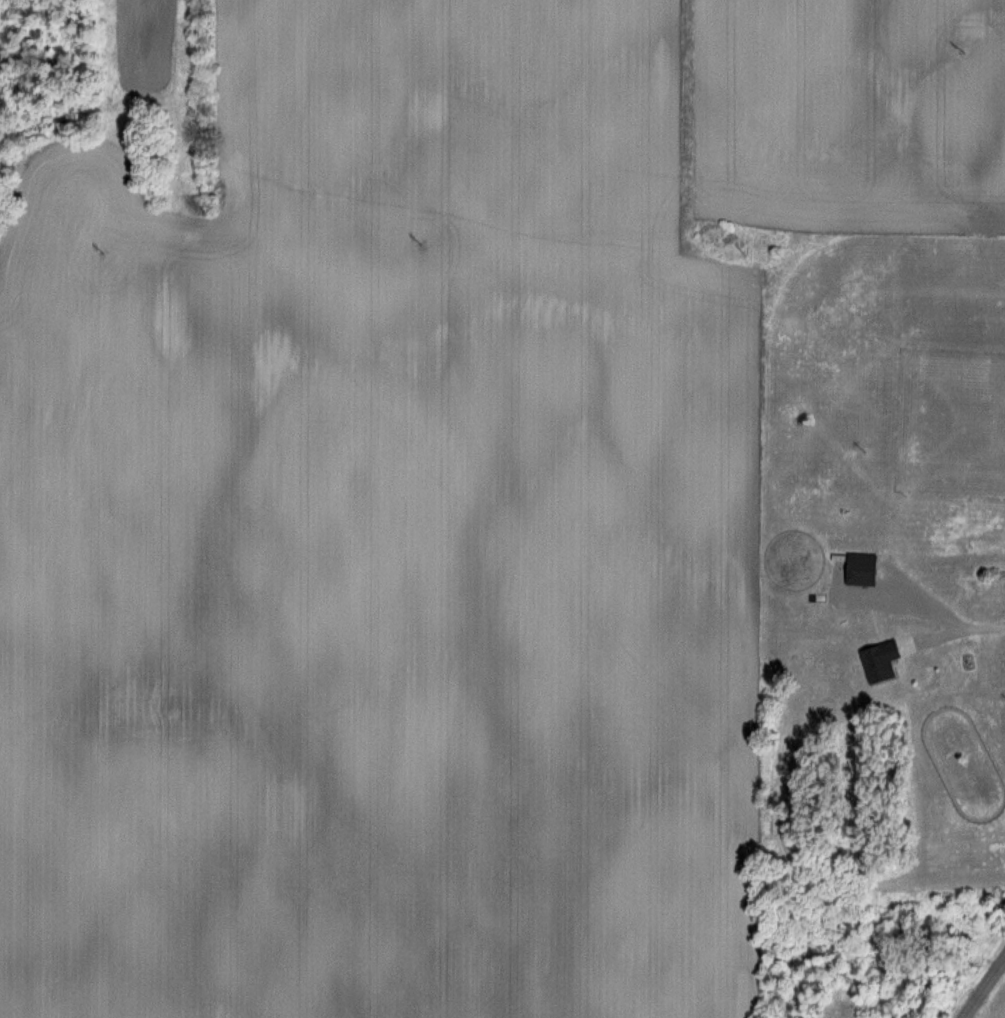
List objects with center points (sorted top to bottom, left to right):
building: (858, 567)
road: (964, 629)
building: (876, 660)
road: (986, 991)
park: (1001, 1013)

